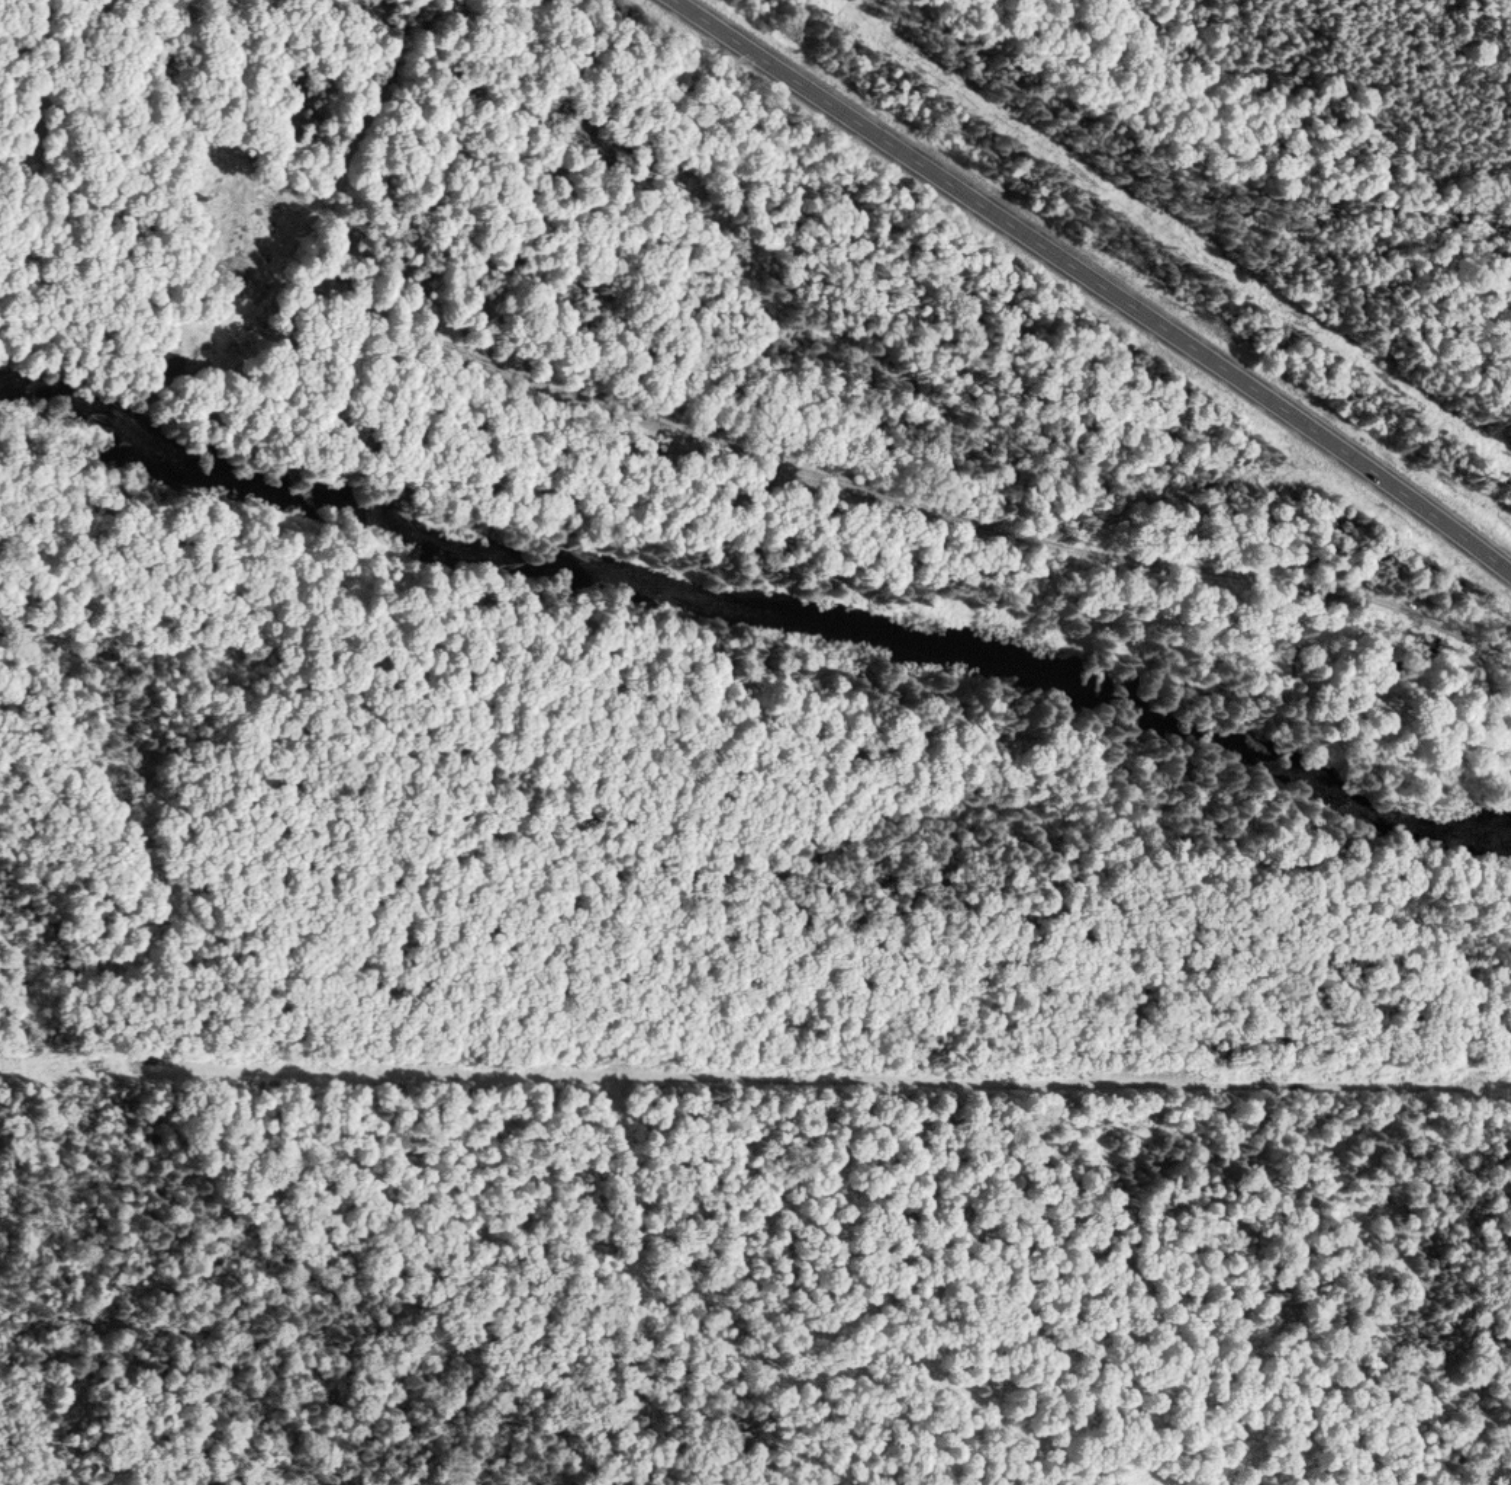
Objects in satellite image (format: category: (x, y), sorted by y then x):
road: (1096, 283)
road: (744, 456)
river: (756, 651)

